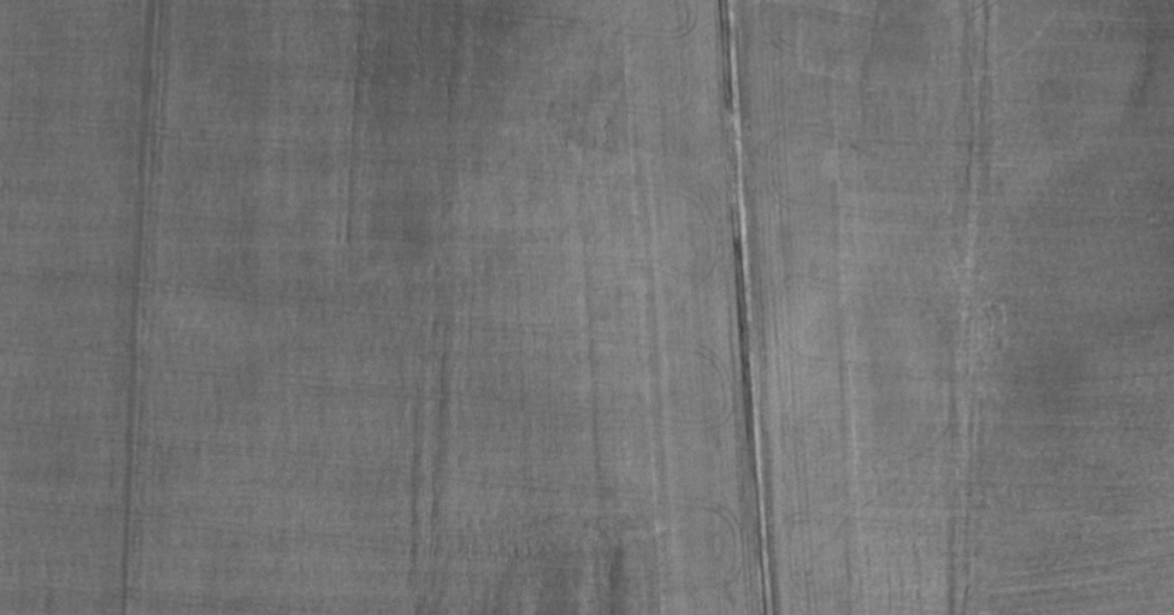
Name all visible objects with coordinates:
road: (743, 307)

